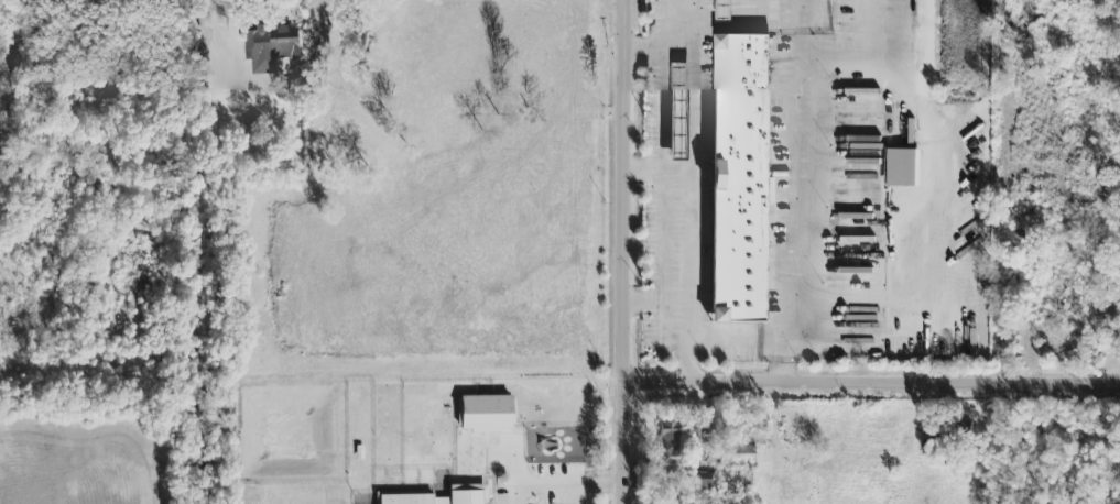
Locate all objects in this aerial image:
building: (720, 10)
gas station: (719, 11)
building: (269, 45)
road: (644, 47)
building: (97, 87)
building: (676, 110)
gas station: (677, 112)
road: (645, 173)
road: (689, 173)
road: (795, 173)
building: (737, 178)
road: (665, 204)
road: (627, 251)
parking lot: (674, 262)
road: (646, 305)
road: (742, 347)
parking lot: (643, 349)
road: (778, 365)
road: (873, 385)
building: (486, 415)
building: (668, 439)
building: (933, 447)
building: (736, 456)
building: (698, 481)
road: (564, 486)
building: (441, 497)

